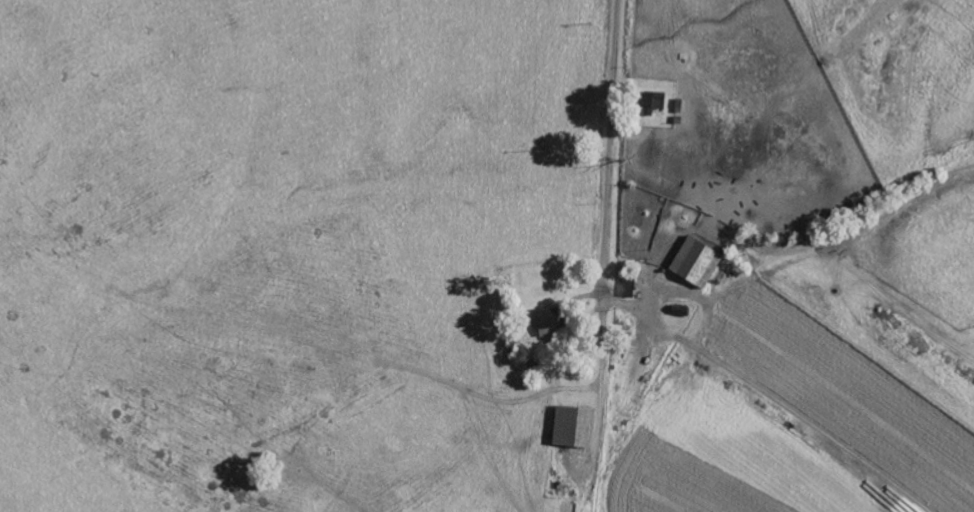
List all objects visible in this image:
building: (650, 105)
road: (609, 148)
building: (693, 265)
building: (541, 320)
building: (570, 430)

